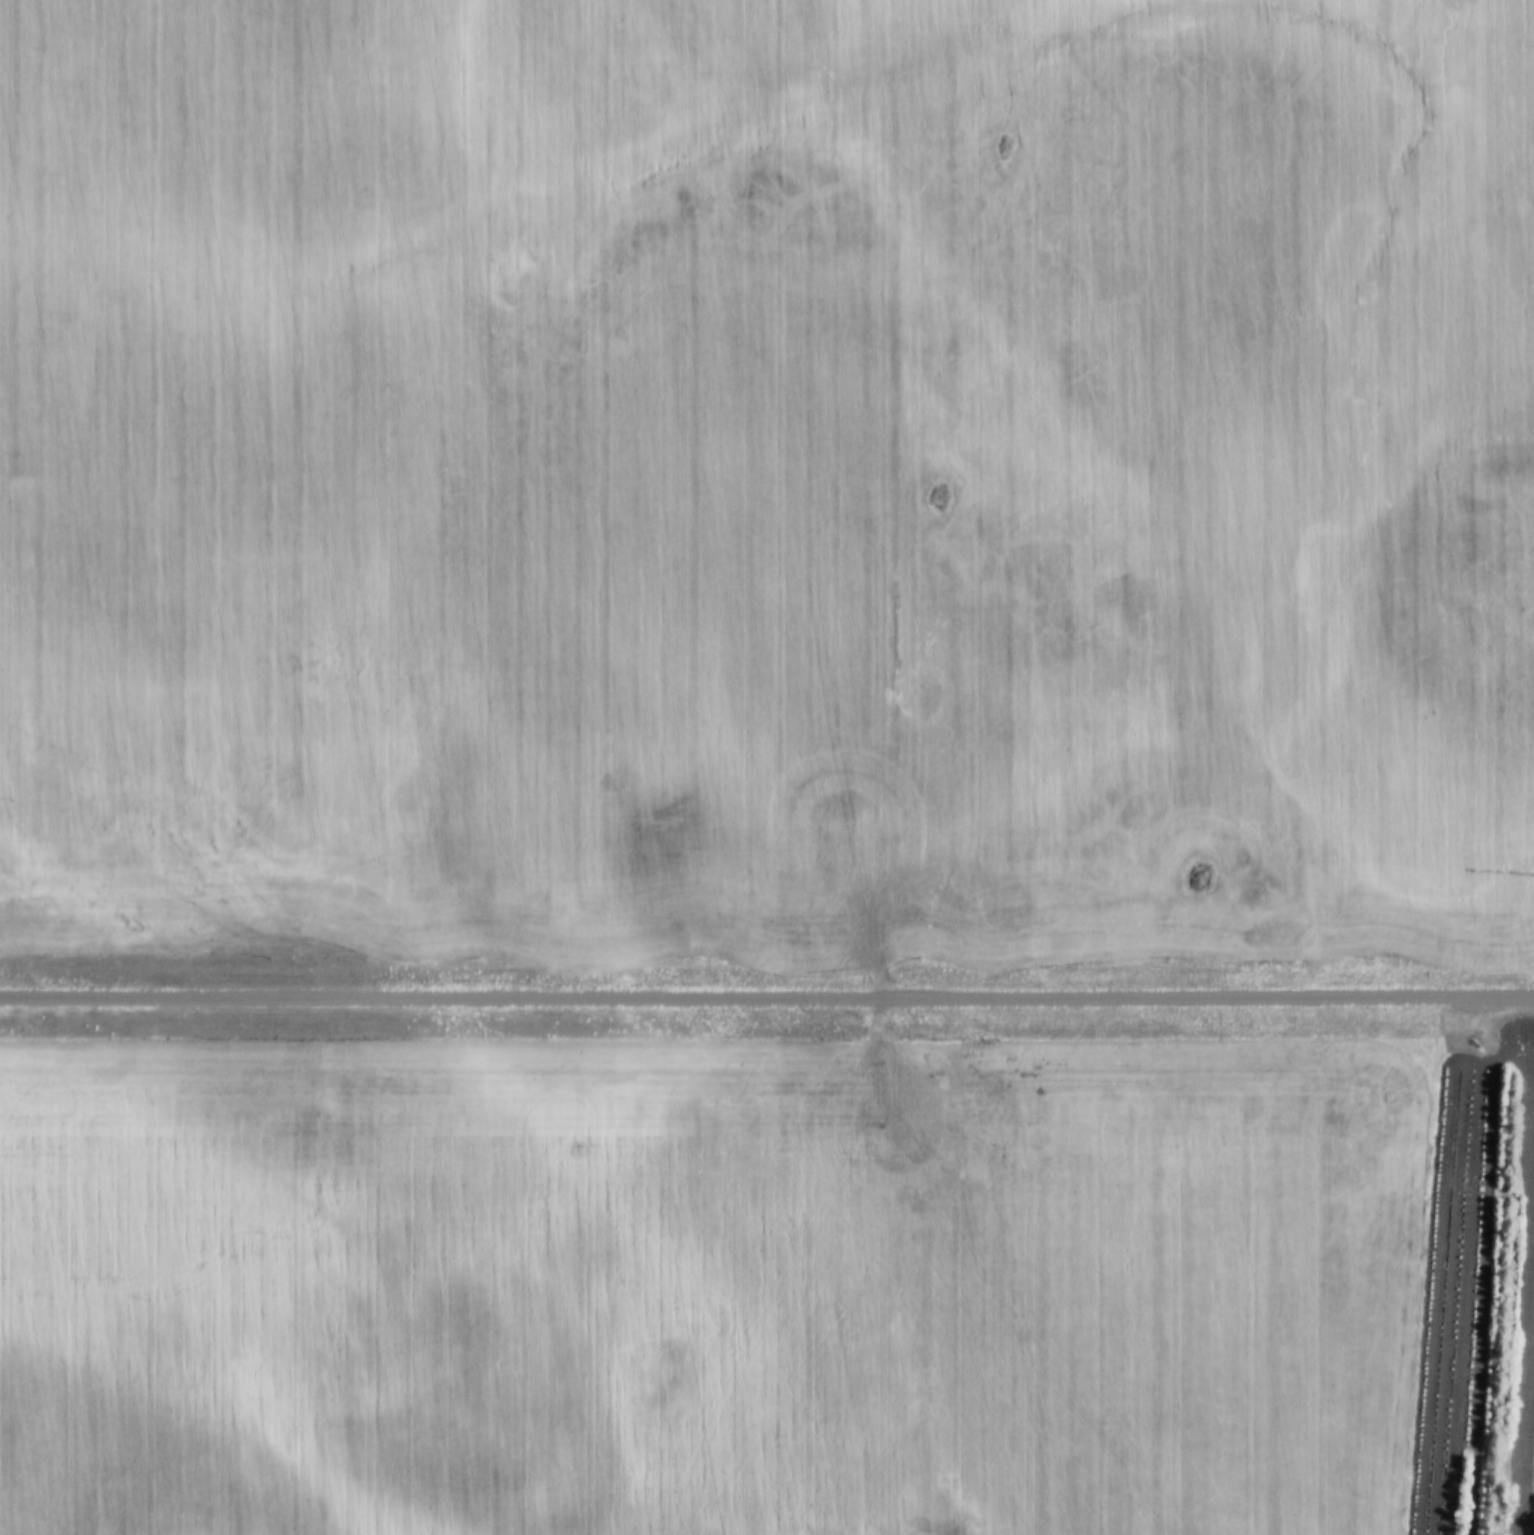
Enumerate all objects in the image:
road: (766, 998)

